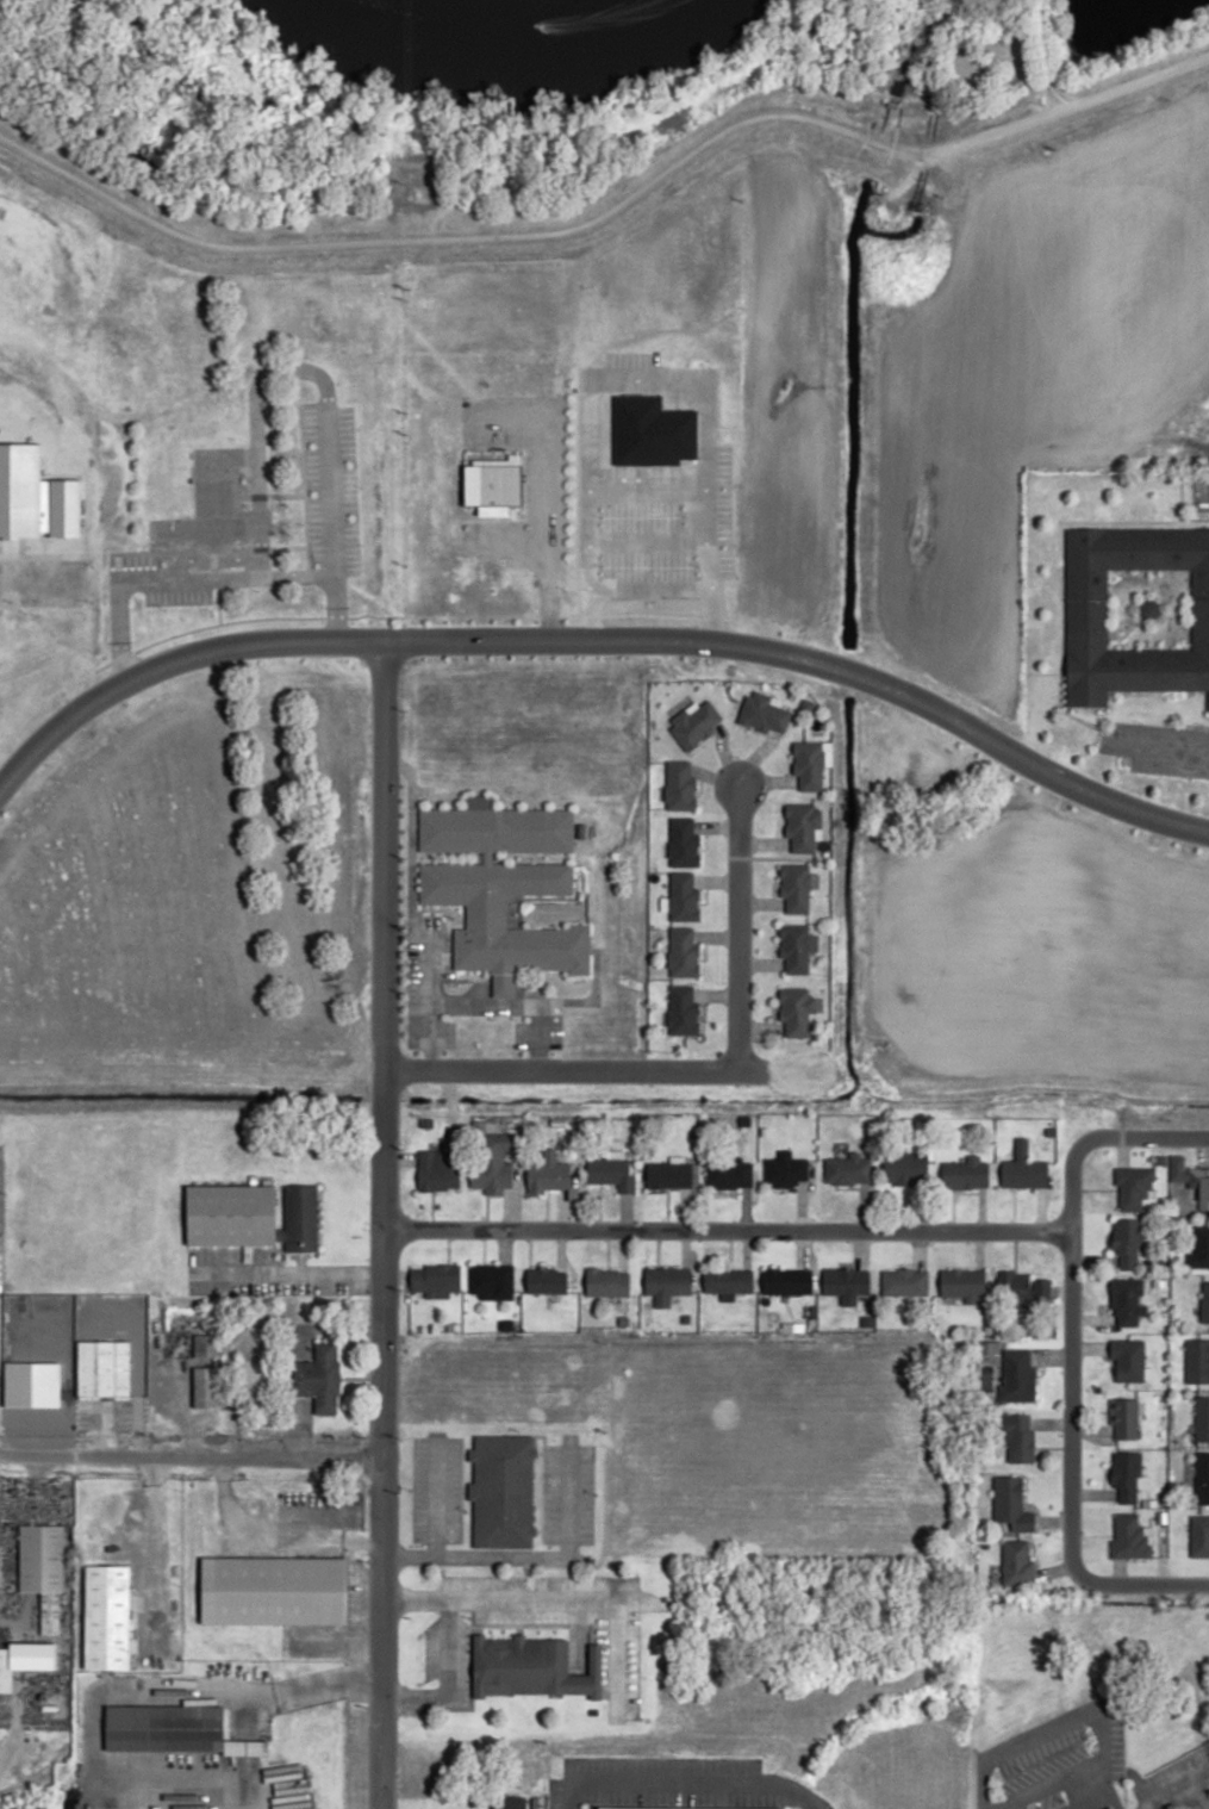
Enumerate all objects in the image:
river: (517, 33)
road: (1045, 54)
road: (1091, 95)
road: (494, 236)
crop: (66, 300)
crop: (862, 383)
building: (492, 477)
parking lot: (525, 485)
parking lot: (1198, 495)
road: (1120, 522)
road: (1171, 585)
building: (4, 597)
building: (1086, 609)
park: (1149, 609)
building: (1151, 609)
road: (1127, 630)
road: (602, 636)
building: (805, 704)
road: (1060, 710)
building: (761, 713)
building: (693, 722)
parking lot: (1159, 750)
road: (723, 756)
road: (755, 758)
building: (806, 764)
road: (407, 775)
road: (715, 781)
road: (765, 784)
building: (680, 787)
road: (381, 826)
road: (716, 826)
building: (802, 826)
road: (761, 843)
building: (684, 844)
road: (717, 881)
road: (409, 882)
building: (500, 887)
building: (793, 887)
building: (683, 897)
road: (759, 904)
parking lot: (426, 922)
road: (716, 938)
building: (796, 947)
building: (684, 952)
road: (759, 964)
crop: (1032, 966)
road: (440, 982)
road: (500, 987)
parking lot: (410, 988)
road: (715, 995)
road: (426, 1003)
road: (535, 1003)
building: (683, 1011)
building: (796, 1011)
parking lot: (554, 1027)
road: (758, 1027)
parking lot: (447, 1033)
parking lot: (517, 1034)
road: (534, 1036)
road: (700, 1069)
building: (1023, 1167)
building: (440, 1168)
building: (904, 1168)
building: (612, 1169)
building: (784, 1169)
building: (846, 1169)
building: (549, 1171)
building: (966, 1173)
building: (491, 1174)
building: (668, 1174)
building: (729, 1174)
building: (1190, 1180)
building: (1134, 1187)
building: (231, 1214)
building: (300, 1218)
road: (724, 1229)
building: (1127, 1241)
building: (1198, 1248)
road: (283, 1273)
building: (436, 1280)
building: (491, 1281)
building: (546, 1281)
building: (667, 1281)
building: (786, 1281)
building: (605, 1282)
building: (727, 1282)
building: (846, 1282)
building: (905, 1282)
building: (962, 1283)
building: (1021, 1289)
building: (1126, 1299)
building: (1204, 1303)
building: (202, 1344)
building: (1128, 1360)
road: (1068, 1361)
building: (1197, 1361)
building: (102, 1368)
building: (318, 1376)
building: (1016, 1378)
building: (205, 1386)
road: (378, 1410)
road: (142, 1412)
building: (1122, 1417)
building: (1202, 1419)
building: (1016, 1437)
road: (188, 1456)
building: (1124, 1475)
building: (1202, 1477)
building: (503, 1490)
building: (1011, 1504)
building: (1199, 1535)
building: (1127, 1540)
road: (143, 1559)
building: (1015, 1564)
building: (40, 1568)
building: (275, 1590)
building: (106, 1616)
building: (532, 1667)
building: (6, 1668)
road: (1057, 1723)
building: (168, 1730)
parking lot: (1040, 1759)
parking lot: (1172, 1764)
road: (683, 1777)
road: (1034, 1791)
road: (1085, 1791)
road: (1174, 1792)
parking lot: (1048, 1801)
building: (30, 1808)
building: (662, 1808)
building: (1110, 1808)
parking lot: (1130, 1808)

